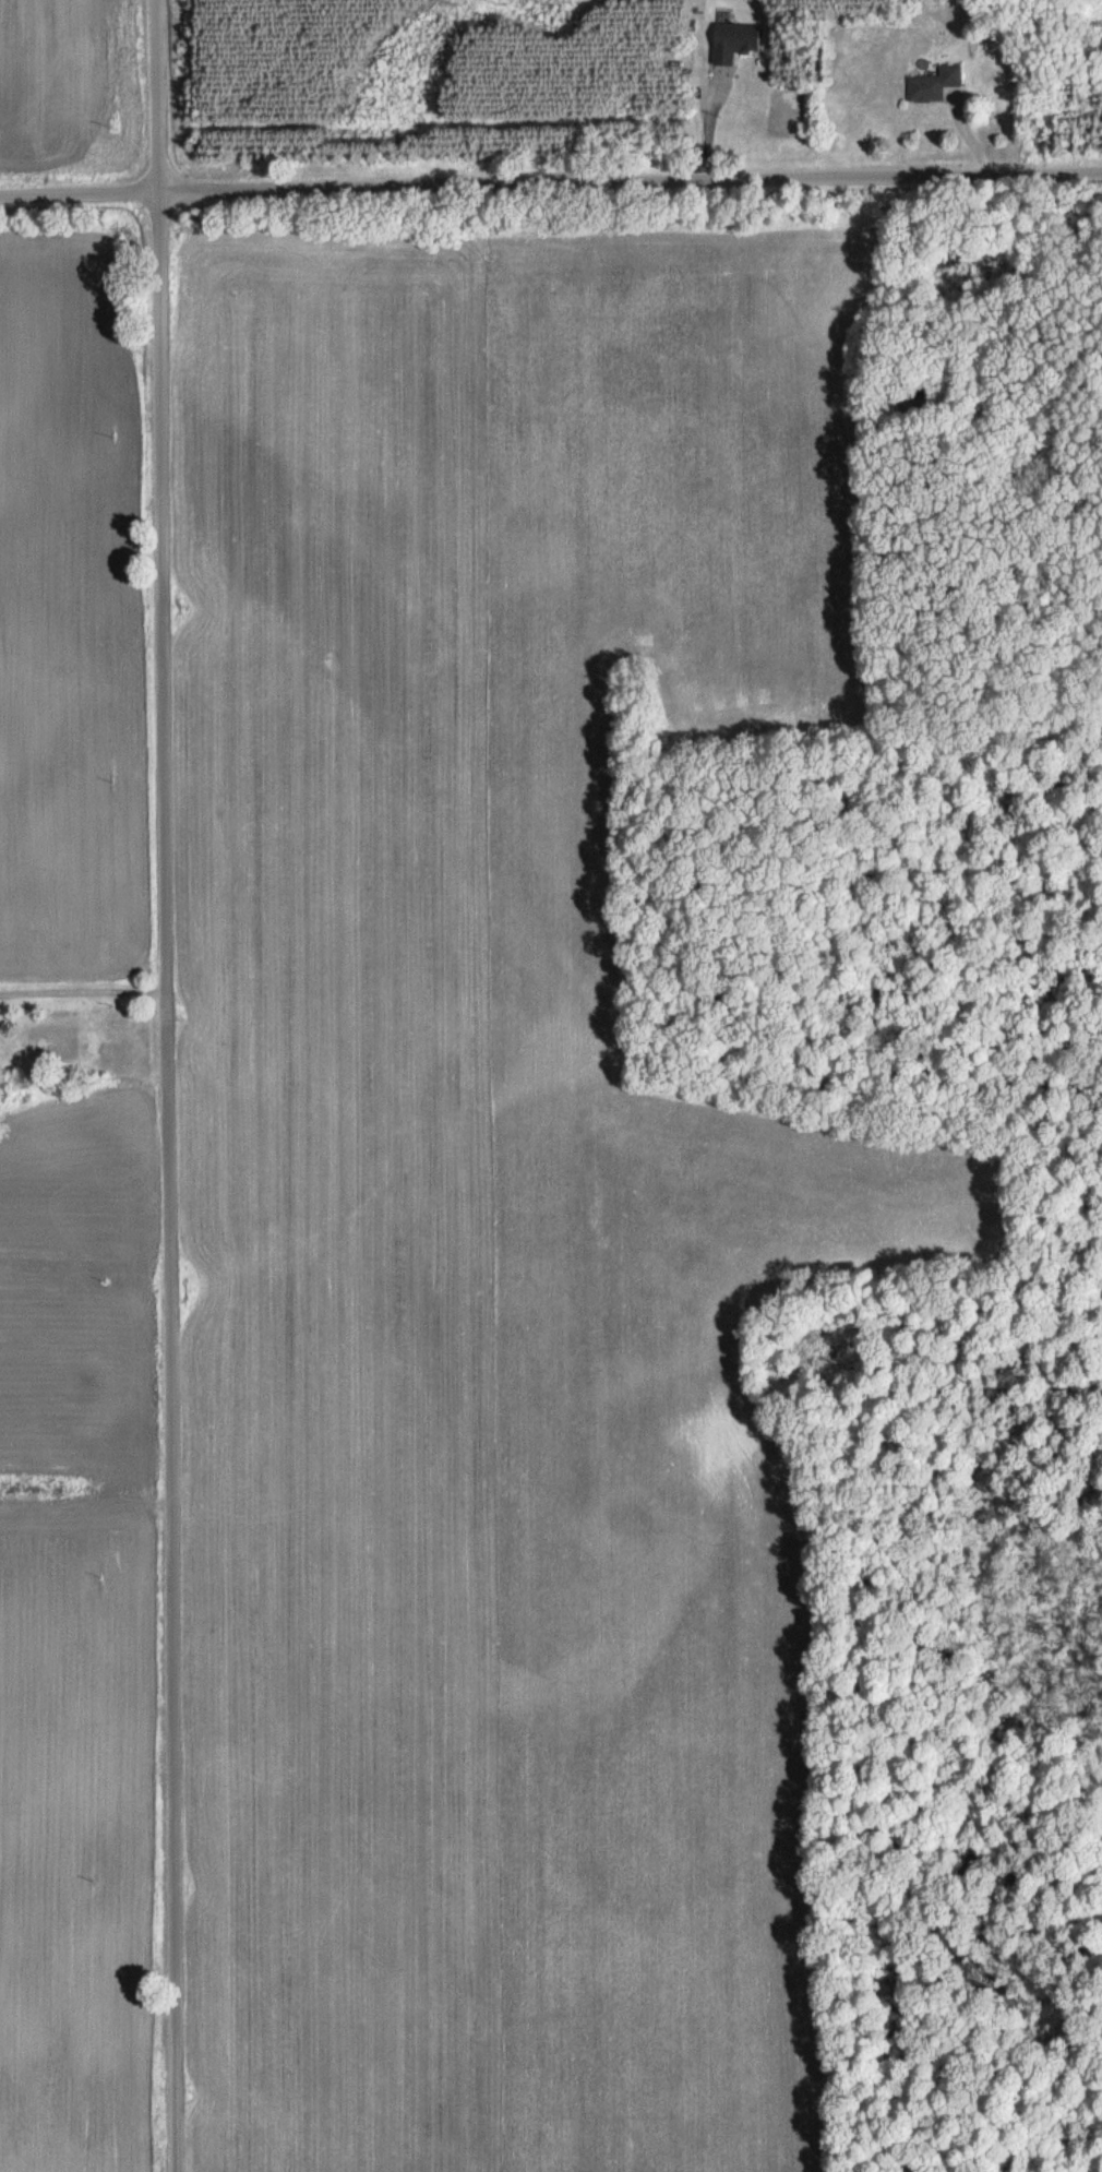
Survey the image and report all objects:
building: (733, 40)
building: (933, 83)
road: (551, 186)
road: (83, 989)
road: (166, 1085)

